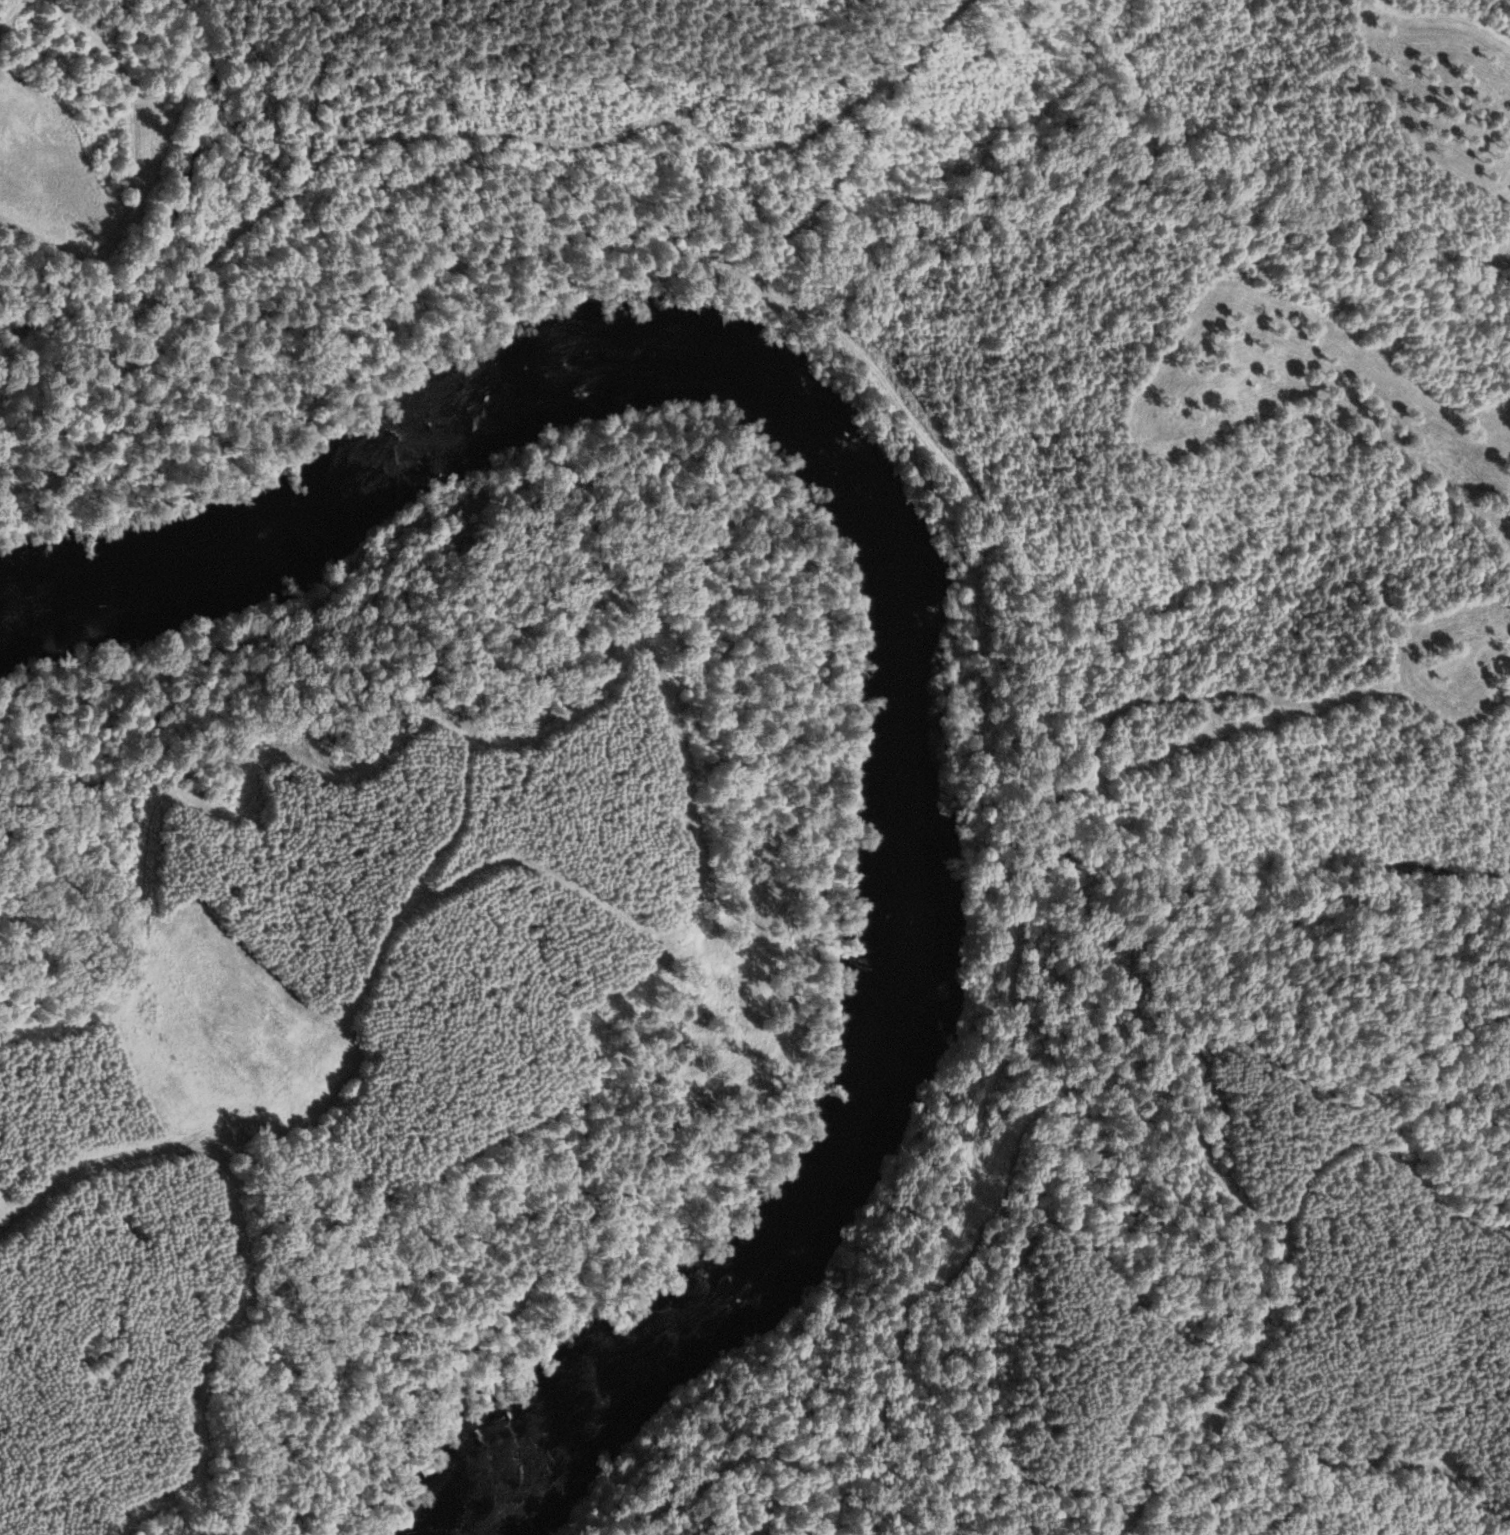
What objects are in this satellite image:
road: (1290, 88)
river: (901, 598)

